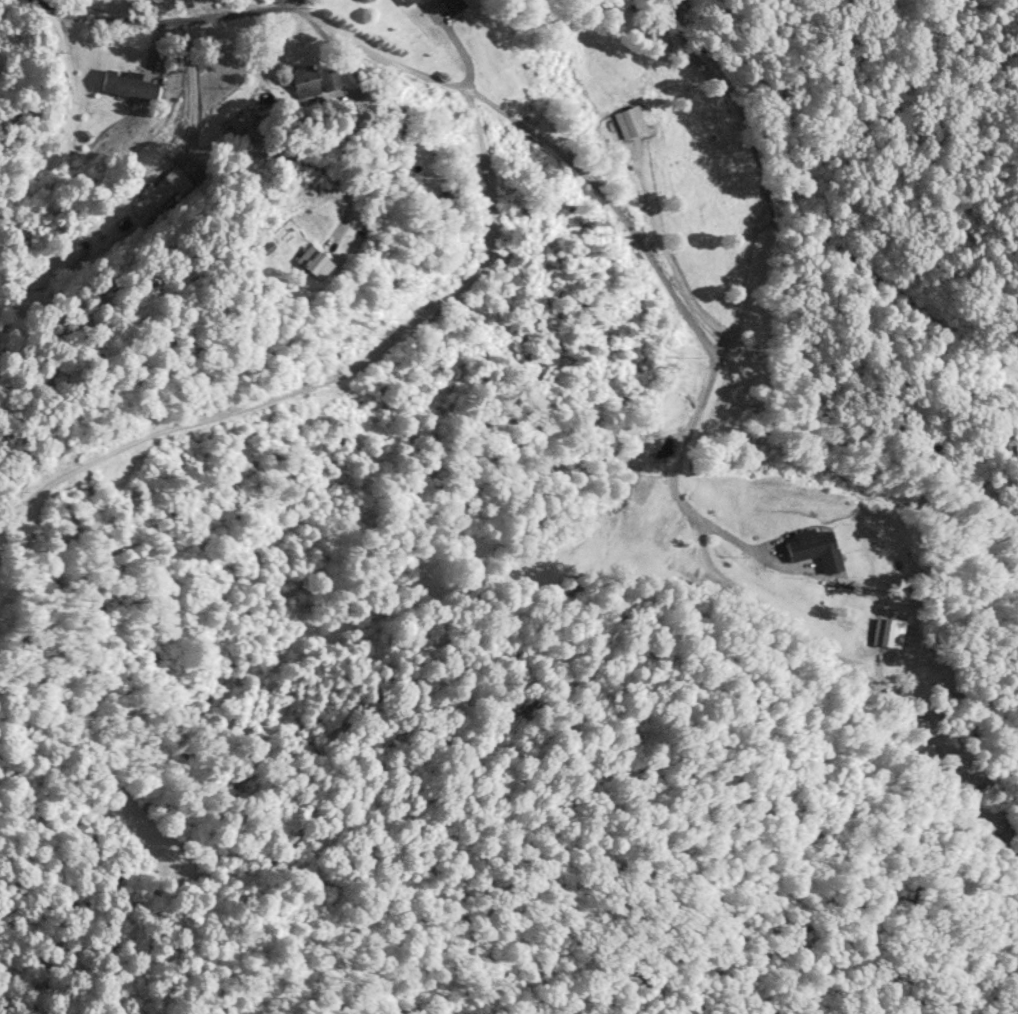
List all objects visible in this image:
road: (294, 1)
building: (407, 2)
building: (452, 6)
road: (186, 13)
building: (311, 83)
building: (126, 86)
road: (502, 116)
building: (629, 123)
building: (159, 194)
building: (314, 263)
road: (680, 496)
building: (815, 549)

